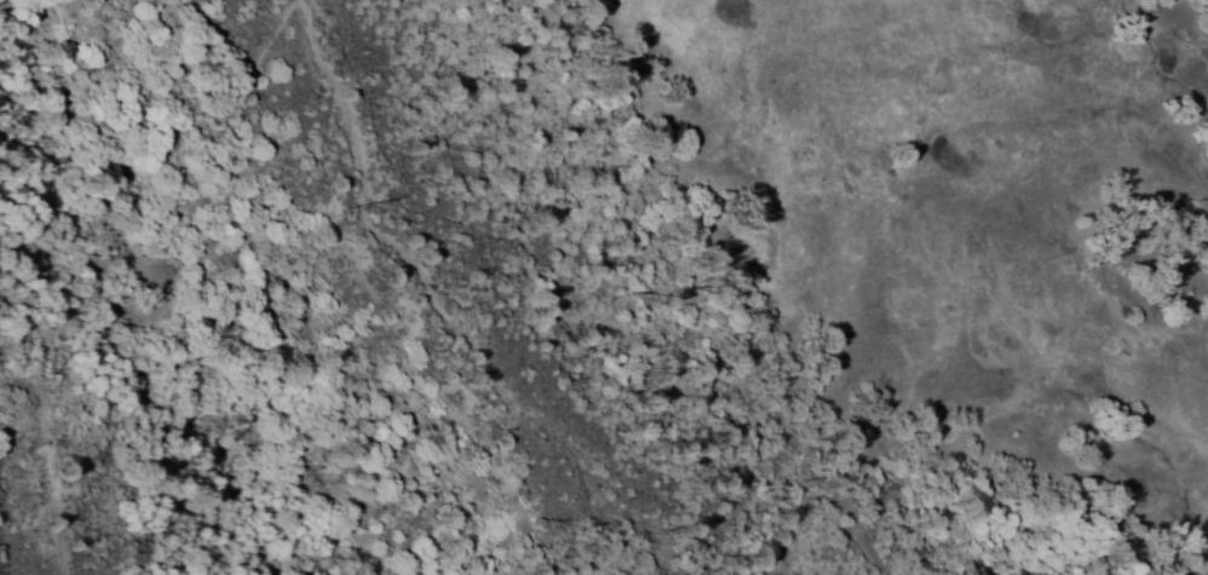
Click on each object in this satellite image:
road: (482, 304)

